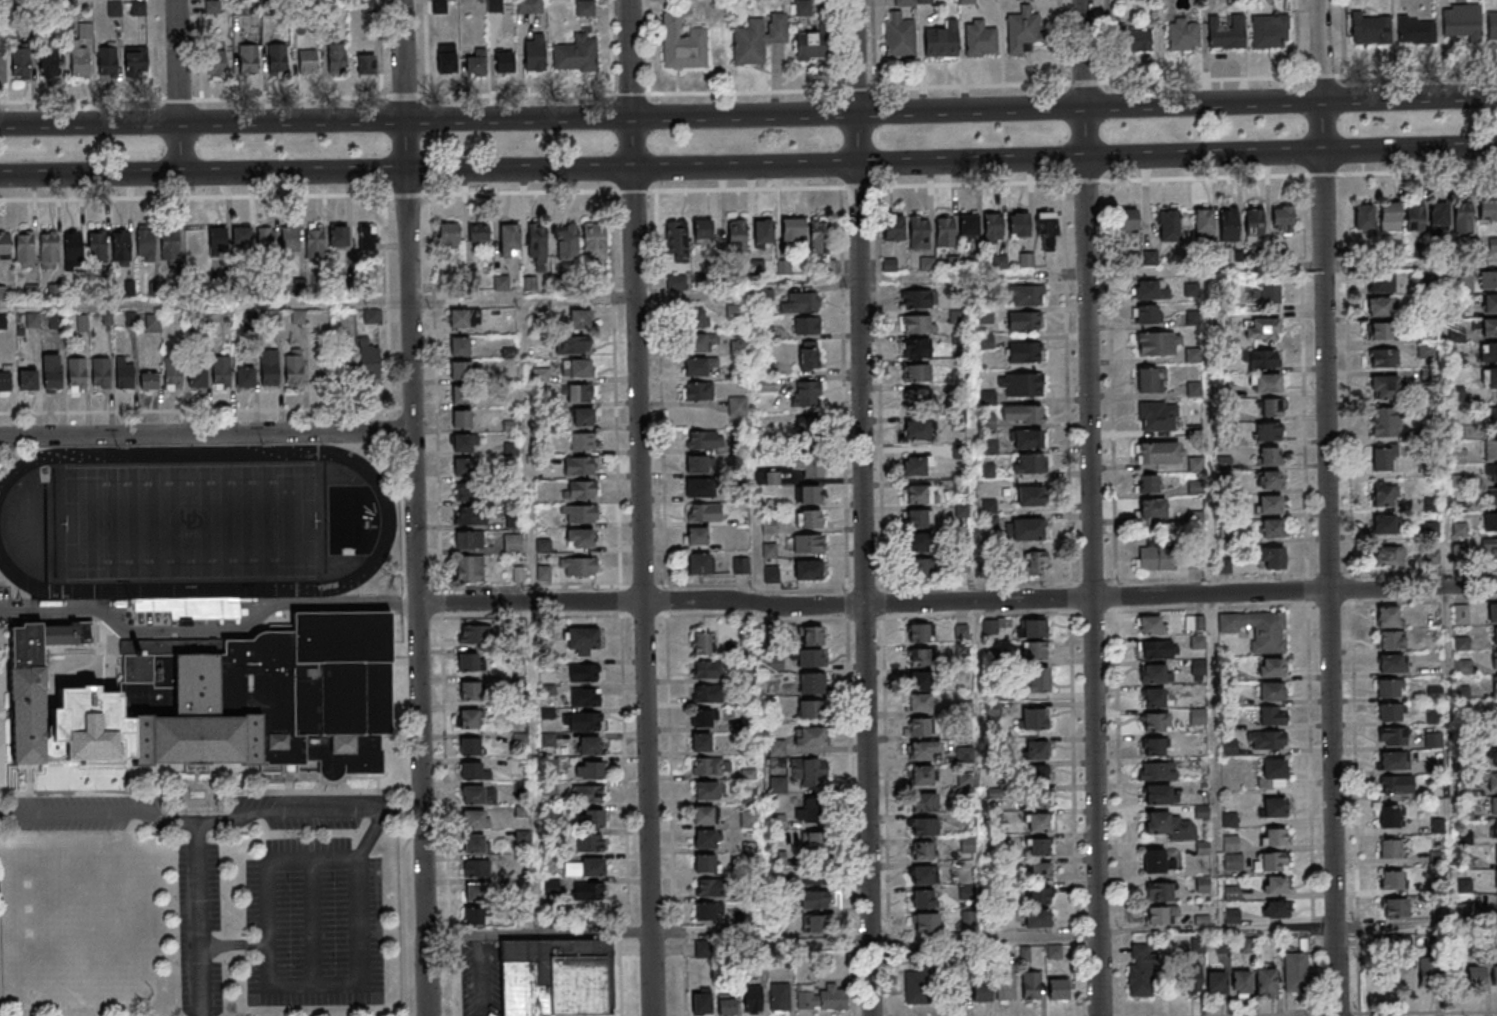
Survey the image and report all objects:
building: (1023, 0)
building: (965, 1)
building: (923, 2)
building: (495, 5)
building: (529, 7)
building: (585, 8)
building: (803, 11)
building: (1462, 22)
building: (1491, 26)
building: (1370, 29)
building: (1415, 31)
building: (1022, 32)
building: (1225, 32)
building: (1269, 32)
building: (1184, 35)
building: (899, 38)
building: (980, 38)
building: (758, 39)
building: (1134, 39)
building: (942, 40)
building: (681, 45)
building: (811, 45)
road: (379, 48)
building: (534, 53)
building: (575, 55)
building: (337, 57)
building: (447, 59)
building: (248, 60)
building: (277, 60)
building: (78, 61)
building: (135, 61)
road: (176, 61)
building: (2, 62)
building: (107, 62)
building: (216, 62)
building: (307, 62)
building: (20, 63)
building: (49, 63)
building: (476, 63)
building: (504, 63)
building: (366, 65)
road: (1381, 75)
road: (1200, 78)
road: (965, 85)
road: (741, 90)
road: (517, 92)
road: (837, 113)
road: (89, 123)
road: (178, 148)
road: (838, 165)
road: (89, 175)
road: (748, 188)
building: (1488, 212)
building: (1364, 216)
building: (1389, 216)
building: (1439, 217)
building: (1463, 217)
building: (1415, 218)
building: (1127, 219)
building: (1282, 220)
building: (1204, 223)
building: (1018, 224)
building: (1168, 225)
building: (1253, 226)
building: (968, 227)
building: (893, 228)
building: (992, 228)
building: (1228, 228)
building: (793, 230)
building: (1046, 230)
building: (702, 231)
building: (944, 231)
building: (478, 232)
building: (763, 232)
building: (919, 232)
building: (448, 233)
building: (339, 235)
building: (737, 235)
building: (241, 236)
building: (217, 237)
building: (266, 237)
building: (367, 237)
building: (509, 239)
building: (677, 239)
building: (290, 240)
building: (315, 241)
building: (594, 242)
building: (145, 243)
building: (170, 243)
building: (566, 243)
building: (5, 245)
building: (537, 245)
building: (1489, 245)
building: (97, 246)
building: (120, 246)
building: (821, 247)
building: (48, 248)
building: (24, 250)
building: (72, 250)
building: (1143, 258)
building: (1026, 259)
building: (757, 267)
building: (783, 267)
building: (1488, 279)
building: (1424, 280)
building: (1381, 281)
building: (698, 283)
building: (1462, 283)
building: (1146, 289)
building: (1191, 290)
building: (2, 292)
building: (1265, 292)
building: (1027, 294)
building: (915, 298)
building: (801, 302)
building: (1490, 303)
building: (1382, 307)
building: (734, 311)
building: (1145, 314)
building: (371, 317)
building: (580, 318)
building: (695, 318)
building: (458, 320)
building: (152, 321)
building: (1024, 321)
building: (914, 323)
building: (808, 325)
building: (1489, 327)
building: (1262, 330)
building: (1379, 331)
building: (1456, 334)
building: (699, 342)
building: (1158, 343)
building: (573, 344)
building: (458, 348)
building: (916, 349)
building: (1426, 350)
building: (1488, 352)
building: (1024, 353)
building: (808, 354)
building: (1383, 357)
building: (1262, 358)
building: (368, 360)
building: (699, 365)
building: (344, 366)
building: (269, 367)
building: (293, 367)
building: (578, 367)
building: (221, 371)
building: (51, 372)
building: (100, 372)
building: (916, 372)
building: (173, 373)
building: (459, 373)
building: (76, 374)
building: (123, 374)
building: (539, 375)
building: (1428, 375)
building: (197, 377)
building: (245, 377)
building: (1489, 378)
building: (5, 379)
building: (28, 379)
building: (1147, 379)
building: (149, 381)
building: (1265, 383)
building: (1021, 385)
building: (1384, 386)
building: (697, 391)
building: (580, 393)
building: (806, 393)
building: (460, 397)
building: (916, 399)
building: (737, 406)
building: (1271, 407)
building: (1023, 414)
building: (1156, 416)
building: (1492, 416)
building: (582, 417)
building: (461, 421)
building: (1386, 422)
building: (809, 429)
building: (917, 431)
building: (1267, 431)
road: (205, 433)
building: (705, 439)
building: (1028, 439)
building: (581, 442)
building: (462, 445)
building: (1491, 448)
building: (1159, 453)
building: (1269, 455)
building: (1383, 458)
building: (697, 463)
building: (1028, 463)
building: (1196, 464)
building: (808, 465)
building: (916, 465)
building: (579, 466)
building: (462, 469)
building: (1495, 472)
building: (1268, 479)
building: (1147, 484)
building: (699, 488)
building: (1195, 488)
building: (581, 490)
building: (464, 492)
building: (1383, 493)
building: (919, 494)
building: (809, 495)
building: (1030, 496)
building: (1490, 497)
building: (1268, 504)
road: (413, 507)
road: (639, 507)
road: (861, 507)
road: (1090, 507)
road: (1326, 508)
building: (1152, 509)
building: (703, 512)
building: (582, 513)
building: (470, 515)
building: (920, 517)
building: (1195, 517)
building: (810, 518)
building: (1490, 521)
park: (188, 522)
track: (386, 525)
building: (1383, 525)
building: (1273, 527)
building: (1025, 529)
building: (697, 535)
building: (581, 537)
building: (918, 541)
building: (468, 542)
building: (512, 543)
building: (809, 543)
building: (1489, 549)
building: (769, 550)
building: (1388, 555)
building: (1271, 558)
building: (1434, 558)
building: (1156, 559)
building: (1195, 559)
building: (699, 563)
building: (1035, 563)
building: (1225, 564)
building: (741, 565)
building: (578, 566)
building: (469, 567)
building: (921, 567)
building: (808, 569)
building: (772, 574)
road: (1070, 598)
road: (956, 602)
road: (620, 604)
road: (666, 604)
road: (440, 606)
building: (1461, 613)
building: (1492, 613)
building: (1388, 616)
building: (1151, 624)
building: (993, 625)
building: (1035, 627)
road: (207, 628)
building: (1257, 629)
building: (1196, 630)
building: (917, 632)
building: (477, 634)
building: (811, 635)
building: (1495, 635)
building: (1391, 639)
building: (581, 640)
building: (701, 642)
road: (1351, 643)
road: (1307, 644)
road: (1115, 647)
building: (1035, 649)
building: (1158, 649)
building: (920, 656)
building: (811, 657)
building: (1494, 658)
building: (1390, 663)
building: (467, 665)
building: (1462, 666)
building: (1271, 667)
building: (706, 669)
building: (580, 673)
building: (1152, 673)
building: (1037, 680)
building: (919, 681)
building: (812, 683)
building: (1494, 683)
building: (33, 687)
building: (1387, 687)
building: (1270, 691)
building: (1434, 692)
building: (469, 693)
building: (706, 693)
building: (1153, 697)
building: (584, 699)
building: (240, 700)
building: (919, 703)
building: (1495, 708)
building: (810, 709)
building: (1389, 711)
building: (1271, 715)
building: (703, 717)
building: (1033, 719)
building: (468, 721)
building: (583, 721)
building: (1155, 721)
building: (919, 728)
building: (810, 736)
building: (1392, 736)
building: (1266, 739)
building: (1433, 739)
building: (701, 741)
building: (1151, 747)
building: (589, 748)
building: (777, 748)
building: (469, 750)
building: (1036, 750)
building: (924, 751)
building: (964, 756)
building: (1493, 756)
building: (1391, 760)
building: (712, 766)
building: (474, 771)
building: (1157, 771)
building: (592, 772)
building: (809, 772)
building: (1272, 773)
building: (1036, 774)
building: (1203, 774)
building: (921, 775)
building: (1492, 781)
building: (1398, 784)
building: (777, 785)
building: (523, 786)
building: (706, 790)
building: (587, 794)
building: (1158, 794)
building: (750, 797)
building: (473, 798)
building: (1039, 799)
building: (924, 801)
building: (1493, 805)
building: (1274, 808)
building: (810, 810)
road: (307, 811)
parking lot: (78, 813)
road: (99, 813)
building: (704, 814)
building: (1389, 816)
building: (589, 818)
building: (748, 819)
building: (1230, 820)
building: (474, 822)
building: (1039, 822)
building: (1169, 825)
building: (923, 826)
building: (1493, 830)
road: (369, 835)
building: (1273, 837)
building: (706, 838)
building: (590, 842)
building: (813, 843)
building: (967, 844)
building: (1038, 846)
building: (473, 847)
building: (1390, 848)
building: (922, 850)
building: (1496, 854)
building: (1156, 861)
building: (1270, 861)
building: (707, 863)
building: (584, 867)
building: (476, 868)
building: (1040, 871)
building: (923, 874)
building: (814, 877)
building: (1496, 878)
building: (1391, 879)
building: (1203, 884)
building: (1276, 884)
building: (709, 887)
building: (965, 891)
building: (589, 892)
building: (1159, 892)
building: (1232, 892)
building: (474, 895)
building: (1038, 895)
building: (923, 898)
building: (814, 900)
building: (1394, 907)
building: (1277, 909)
building: (1465, 910)
building: (708, 911)
building: (1159, 914)
building: (473, 916)
building: (1232, 916)
building: (1036, 918)
road: (198, 919)
building: (968, 920)
road: (311, 923)
parking lot: (312, 925)
building: (816, 925)
road: (1415, 925)
building: (924, 926)
parking lot: (198, 928)
road: (233, 945)
building: (1197, 946)
building: (702, 948)
building: (1141, 971)
building: (1428, 971)
building: (1296, 972)
building: (1494, 973)
building: (1473, 975)
building: (554, 976)
building: (1402, 976)
building: (1191, 980)
building: (1266, 981)
building: (1007, 982)
building: (1217, 982)
building: (1242, 982)
building: (919, 984)
building: (1031, 985)
road: (268, 986)
building: (1057, 989)
building: (982, 992)
building: (780, 997)
building: (821, 998)
building: (753, 999)
building: (702, 1001)
building: (726, 1004)
road: (1427, 1012)
road: (1335, 1013)
road: (1277, 1014)
road: (1313, 1014)
road: (1358, 1015)

